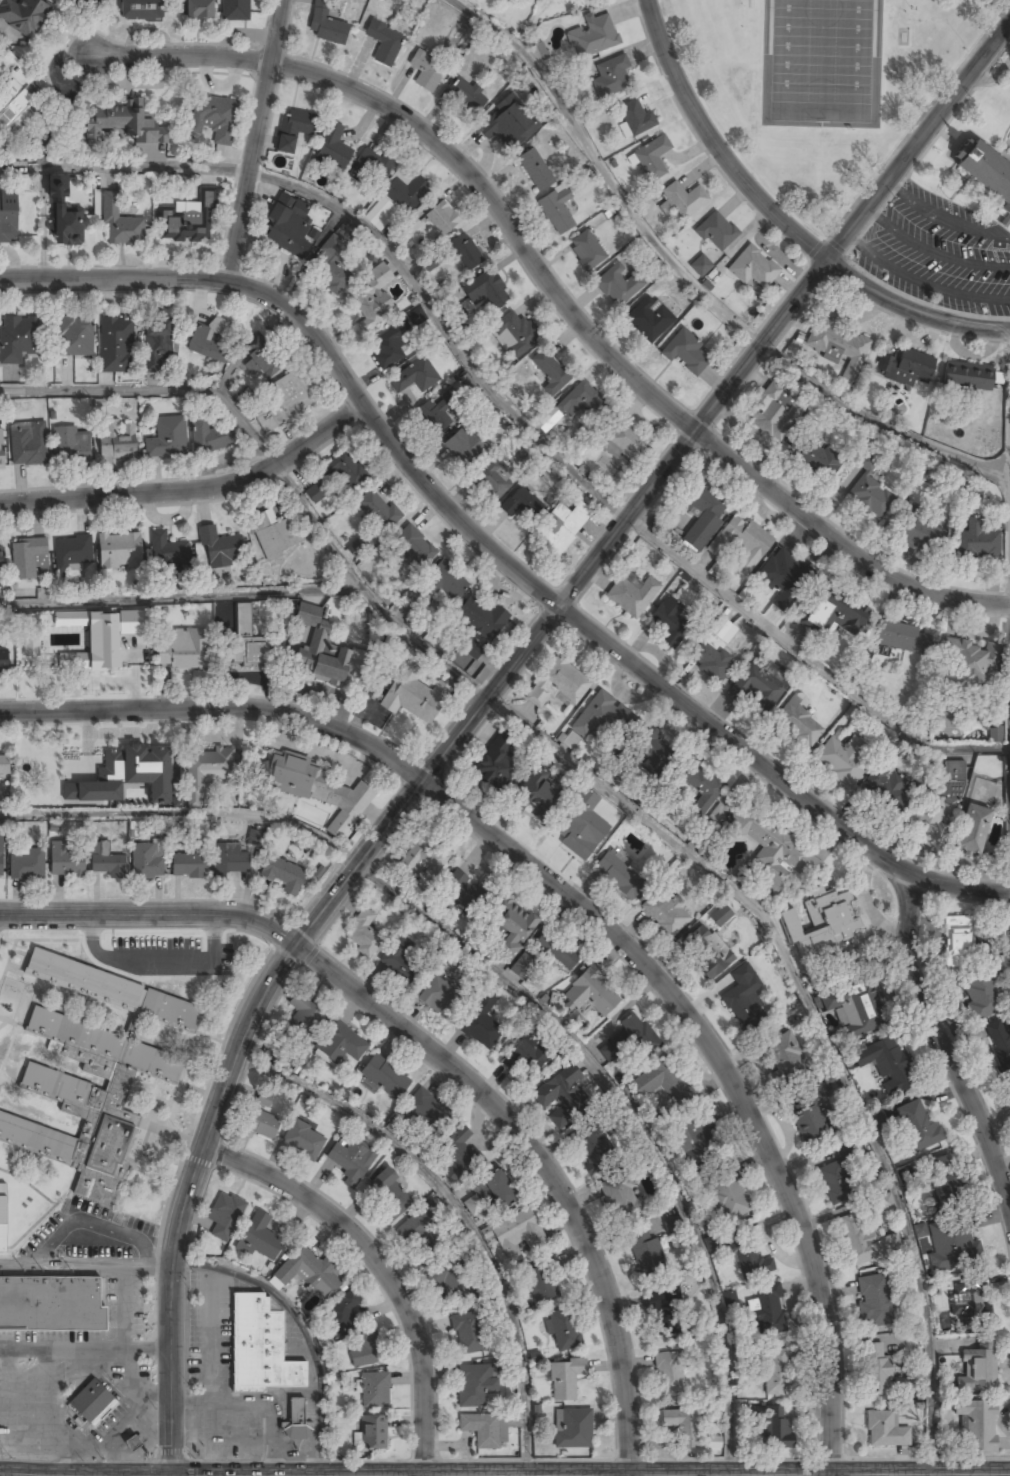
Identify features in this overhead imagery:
building: (79, 1)
building: (141, 10)
building: (199, 10)
building: (235, 10)
building: (25, 15)
building: (326, 24)
building: (593, 37)
building: (385, 41)
building: (539, 51)
park: (819, 62)
building: (427, 70)
building: (611, 77)
building: (466, 96)
building: (15, 102)
building: (214, 117)
building: (635, 118)
building: (127, 123)
building: (507, 124)
building: (294, 128)
road: (256, 140)
road: (716, 145)
building: (332, 147)
road: (446, 152)
building: (652, 157)
building: (372, 166)
road: (125, 168)
building: (535, 170)
building: (986, 173)
building: (407, 193)
building: (684, 199)
building: (557, 211)
building: (8, 217)
building: (442, 218)
building: (411, 224)
building: (120, 225)
building: (183, 226)
building: (286, 226)
building: (68, 227)
building: (717, 231)
building: (587, 250)
building: (465, 251)
parking lot: (940, 251)
road: (833, 254)
building: (329, 265)
building: (700, 265)
building: (753, 268)
road: (693, 283)
building: (615, 287)
building: (486, 290)
road: (255, 291)
building: (368, 303)
road: (912, 312)
building: (646, 322)
road: (443, 333)
building: (514, 335)
building: (74, 337)
building: (211, 339)
building: (835, 342)
building: (15, 345)
building: (115, 346)
building: (157, 346)
building: (388, 349)
building: (686, 352)
building: (260, 358)
building: (905, 367)
building: (550, 373)
building: (967, 376)
building: (406, 379)
road: (155, 389)
building: (287, 398)
building: (584, 403)
building: (770, 410)
building: (433, 417)
building: (547, 418)
building: (211, 436)
building: (116, 439)
building: (165, 439)
building: (625, 440)
building: (27, 442)
building: (68, 447)
building: (463, 447)
building: (1, 450)
building: (817, 457)
building: (346, 467)
road: (1009, 467)
building: (492, 479)
building: (318, 490)
building: (970, 490)
road: (192, 491)
building: (870, 497)
building: (523, 505)
building: (378, 510)
building: (702, 517)
building: (919, 526)
building: (560, 528)
building: (271, 535)
road: (842, 540)
building: (976, 542)
building: (741, 544)
building: (414, 547)
building: (220, 549)
building: (120, 550)
building: (167, 550)
building: (73, 553)
building: (28, 559)
building: (2, 563)
building: (787, 571)
building: (443, 582)
road: (178, 594)
road: (367, 594)
building: (632, 594)
building: (835, 613)
building: (482, 619)
building: (671, 622)
building: (101, 635)
building: (900, 637)
building: (31, 639)
building: (469, 645)
building: (319, 648)
building: (182, 649)
building: (255, 652)
building: (58, 655)
building: (709, 660)
road: (808, 660)
building: (4, 661)
building: (969, 664)
road: (656, 683)
building: (558, 684)
building: (759, 685)
building: (417, 698)
road: (221, 709)
building: (595, 717)
building: (798, 720)
building: (996, 733)
building: (571, 740)
building: (649, 750)
building: (841, 759)
building: (495, 762)
building: (4, 765)
building: (210, 766)
building: (46, 767)
building: (126, 775)
building: (887, 787)
building: (701, 788)
building: (320, 790)
building: (536, 797)
building: (939, 799)
road: (186, 812)
building: (973, 830)
building: (577, 834)
building: (254, 837)
building: (773, 851)
building: (1, 857)
building: (230, 860)
building: (425, 860)
building: (106, 861)
building: (146, 861)
building: (67, 864)
building: (26, 865)
building: (188, 866)
building: (621, 873)
building: (283, 875)
road: (956, 887)
building: (465, 892)
building: (665, 912)
building: (721, 914)
road: (152, 915)
road: (996, 921)
building: (512, 925)
building: (821, 925)
road: (305, 934)
building: (364, 934)
building: (958, 938)
building: (558, 950)
building: (400, 960)
building: (716, 963)
building: (522, 966)
building: (724, 984)
building: (114, 991)
building: (438, 995)
building: (589, 995)
building: (981, 996)
building: (855, 1005)
building: (742, 1008)
building: (305, 1015)
road: (819, 1024)
building: (481, 1027)
building: (638, 1035)
road: (940, 1039)
building: (340, 1042)
building: (1000, 1047)
building: (785, 1056)
building: (525, 1058)
building: (885, 1064)
road: (737, 1069)
building: (385, 1078)
building: (660, 1082)
building: (556, 1087)
building: (268, 1100)
building: (89, 1101)
building: (426, 1108)
road: (632, 1120)
building: (807, 1121)
building: (262, 1124)
building: (917, 1126)
building: (689, 1140)
building: (304, 1141)
building: (592, 1153)
building: (458, 1154)
building: (352, 1161)
road: (543, 1163)
building: (944, 1176)
building: (835, 1184)
building: (495, 1193)
building: (390, 1196)
building: (729, 1198)
building: (620, 1199)
building: (881, 1203)
road: (458, 1213)
building: (225, 1216)
building: (2, 1217)
building: (420, 1231)
building: (518, 1234)
building: (259, 1239)
building: (864, 1242)
building: (962, 1245)
building: (644, 1251)
building: (748, 1258)
road: (87, 1266)
road: (381, 1268)
building: (309, 1273)
building: (451, 1281)
building: (542, 1283)
building: (874, 1300)
building: (50, 1305)
building: (971, 1307)
building: (767, 1309)
building: (664, 1312)
building: (342, 1315)
road: (303, 1328)
building: (563, 1331)
building: (466, 1333)
road: (86, 1348)
building: (260, 1348)
building: (366, 1351)
building: (876, 1368)
building: (977, 1369)
building: (776, 1372)
building: (669, 1373)
building: (565, 1379)
building: (475, 1385)
building: (375, 1391)
building: (91, 1401)
road: (44, 1418)
building: (294, 1421)
building: (977, 1425)
building: (683, 1426)
building: (572, 1428)
building: (776, 1428)
building: (884, 1430)
building: (373, 1432)
building: (484, 1432)
road: (22, 1436)
building: (132, 1443)
road: (717, 1475)

